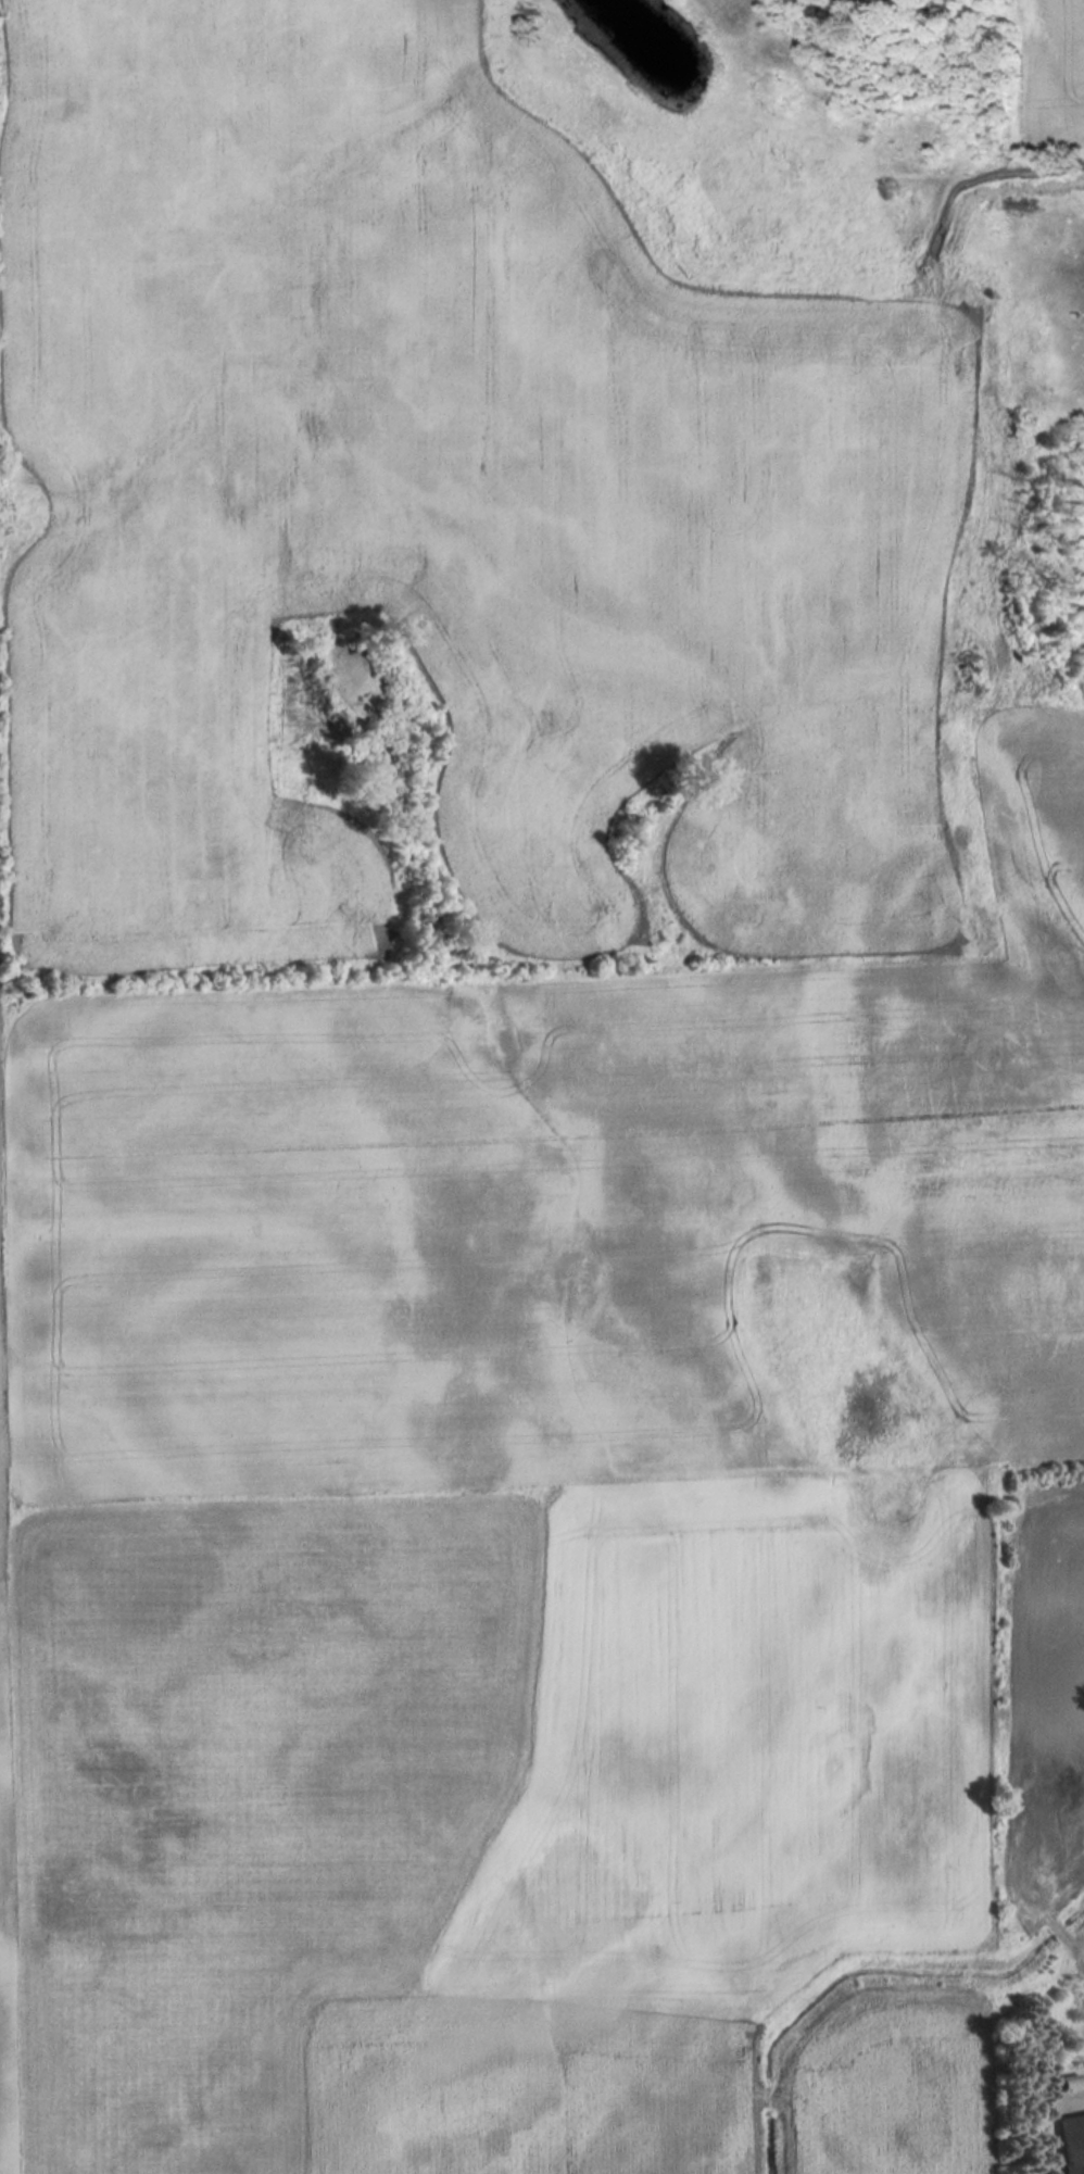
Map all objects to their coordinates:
building: (1073, 2144)

